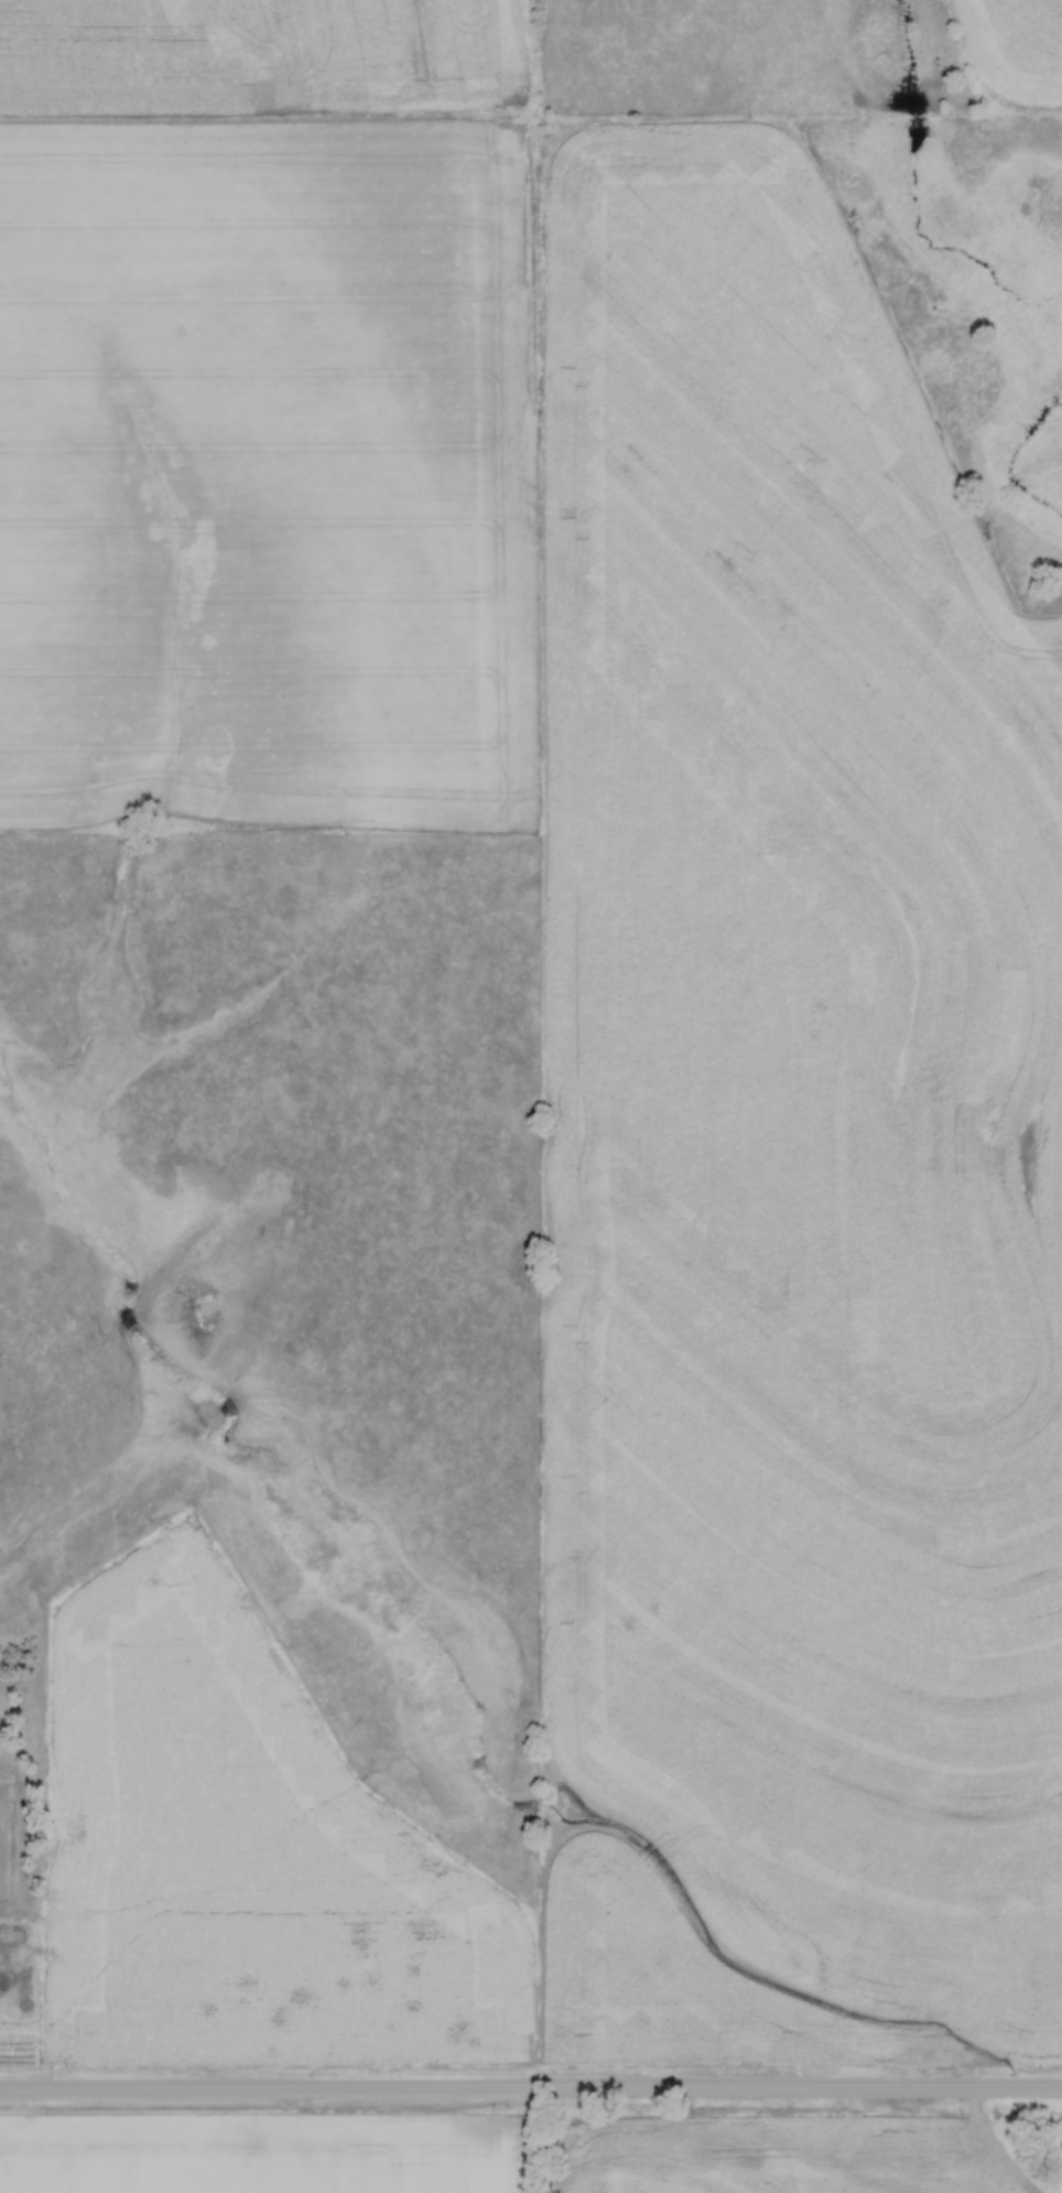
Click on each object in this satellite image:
road: (531, 2086)

